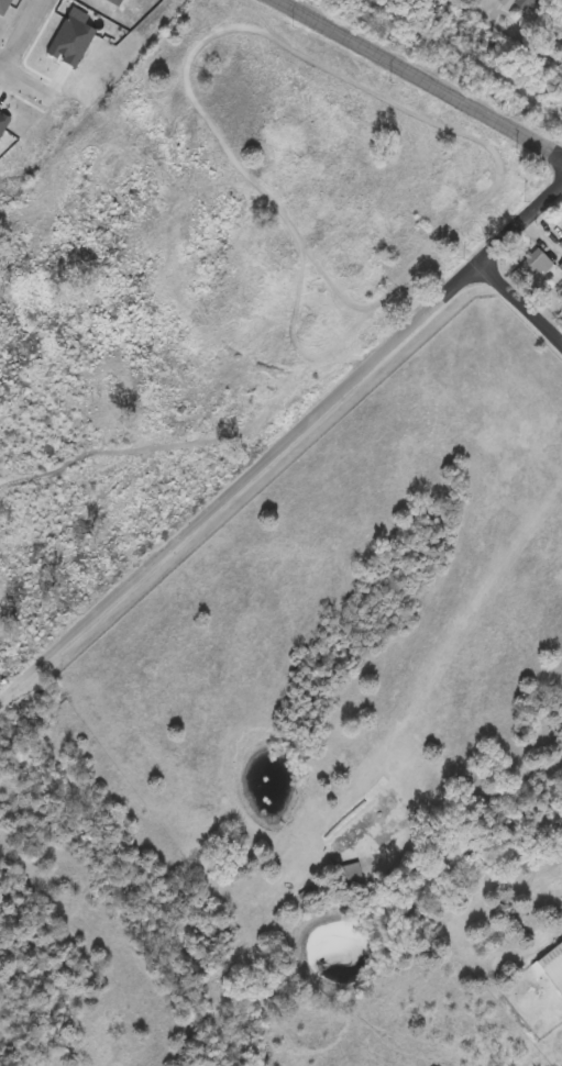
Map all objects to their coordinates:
building: (525, 5)
building: (3, 7)
road: (22, 36)
road: (540, 52)
road: (419, 84)
road: (24, 87)
building: (421, 253)
building: (533, 267)
road: (522, 303)
road: (282, 444)
building: (350, 876)
building: (553, 966)

